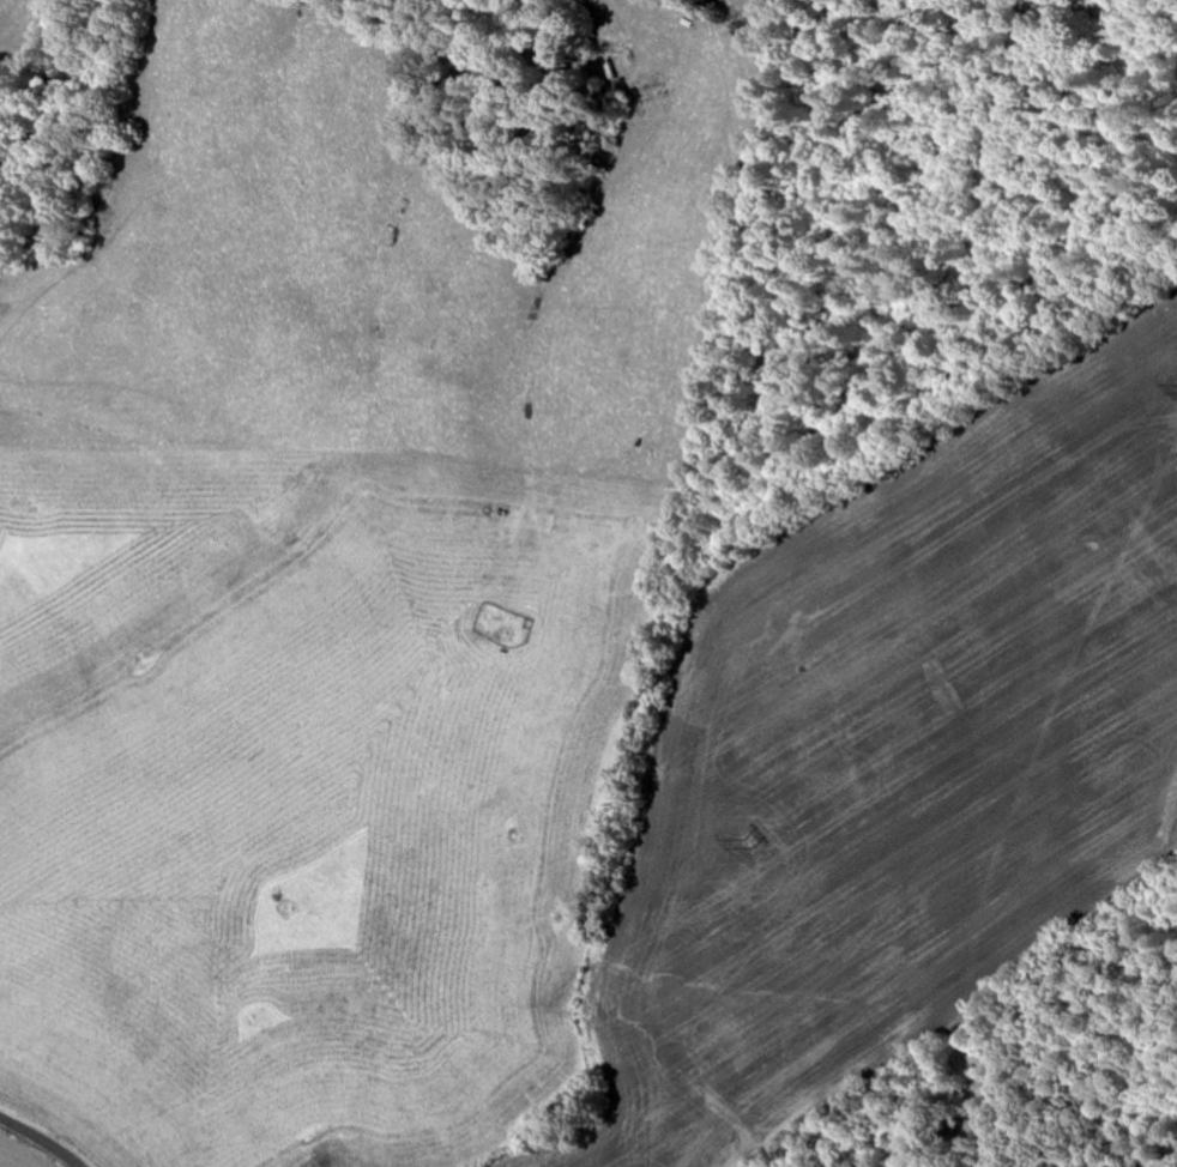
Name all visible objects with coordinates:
road: (41, 1141)

